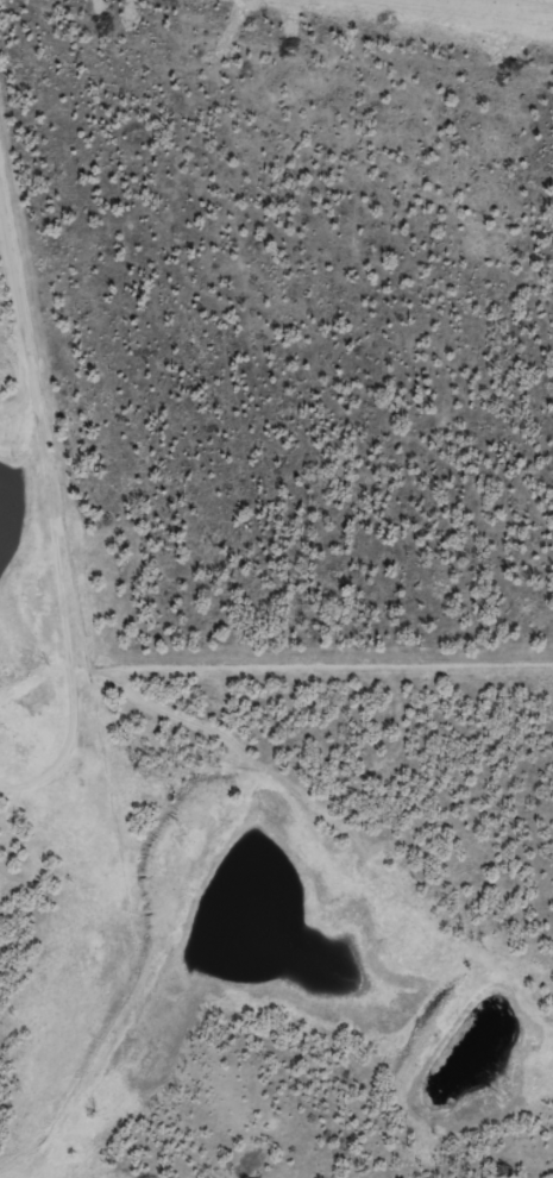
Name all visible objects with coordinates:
railway: (406, 18)

